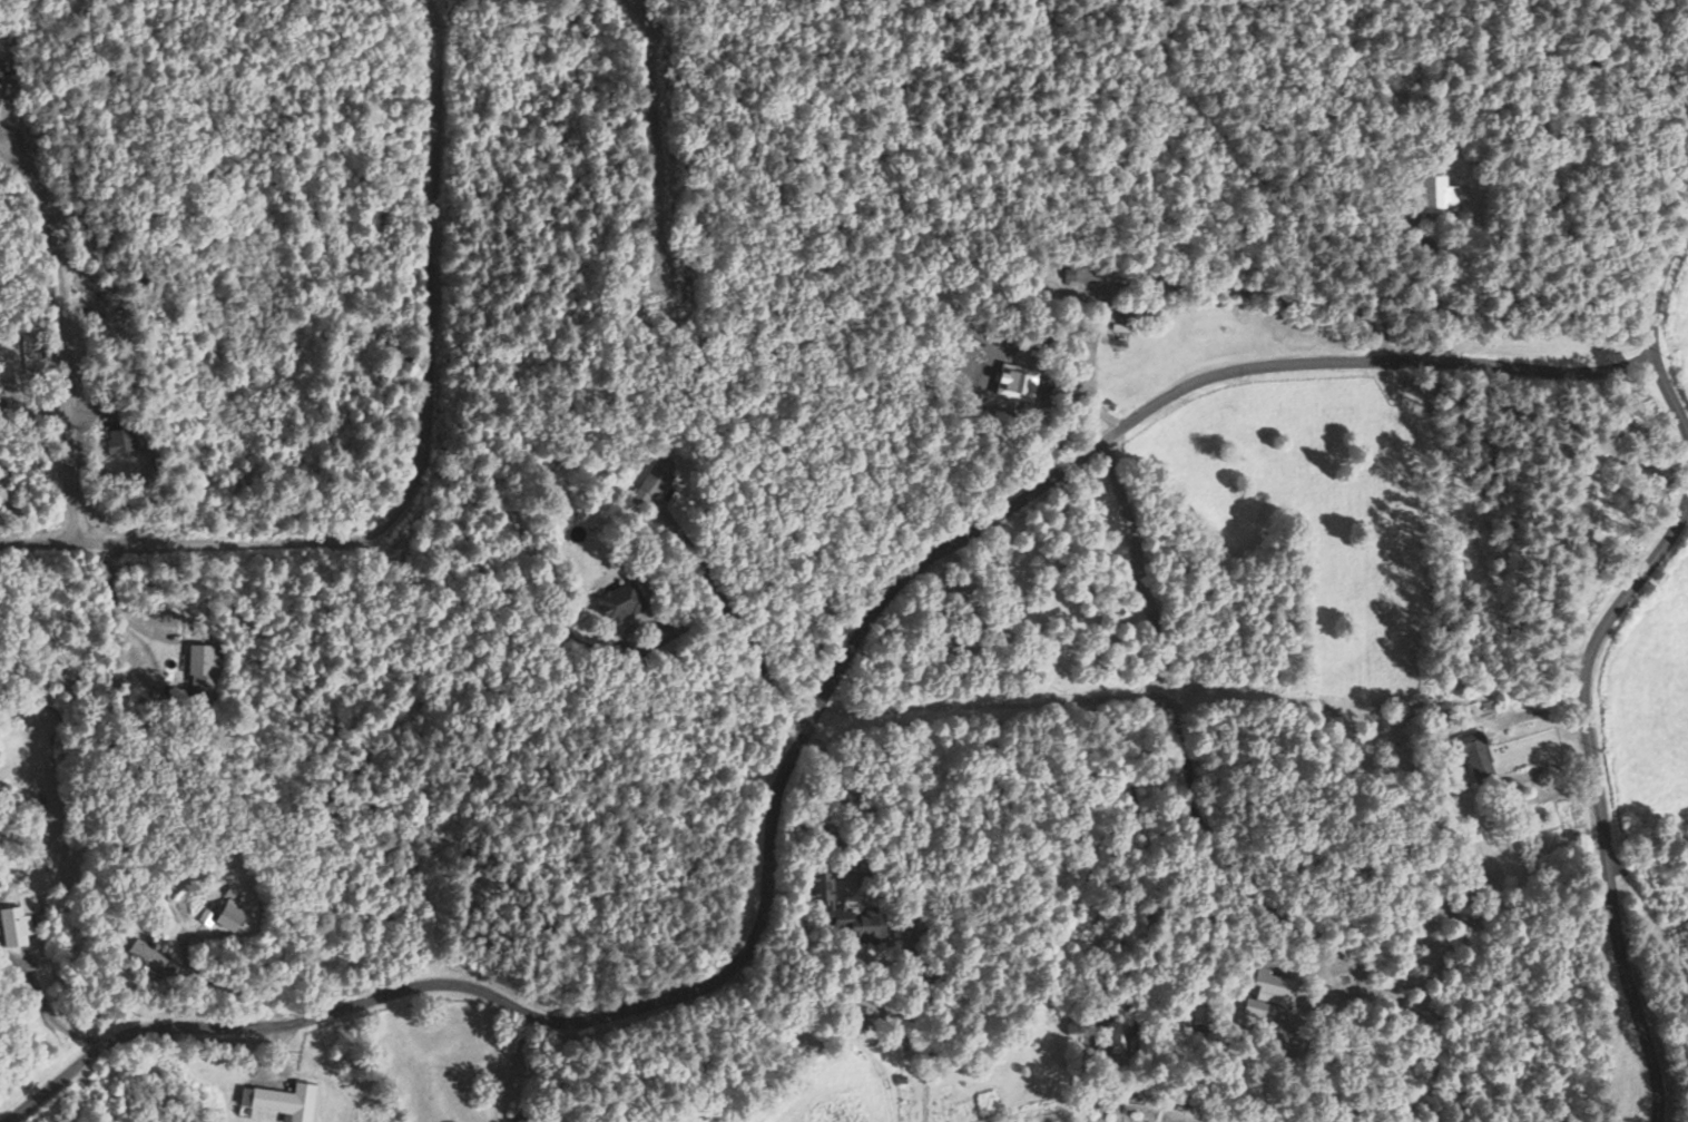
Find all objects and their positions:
road: (649, 136)
building: (1443, 197)
road: (1651, 326)
road: (65, 333)
road: (415, 457)
building: (656, 479)
building: (620, 603)
road: (748, 659)
road: (796, 742)
building: (1478, 758)
road: (1598, 799)
building: (821, 886)
building: (230, 917)
building: (857, 923)
building: (16, 928)
building: (1270, 995)
building: (1116, 1037)
building: (285, 1102)
building: (527, 1113)

